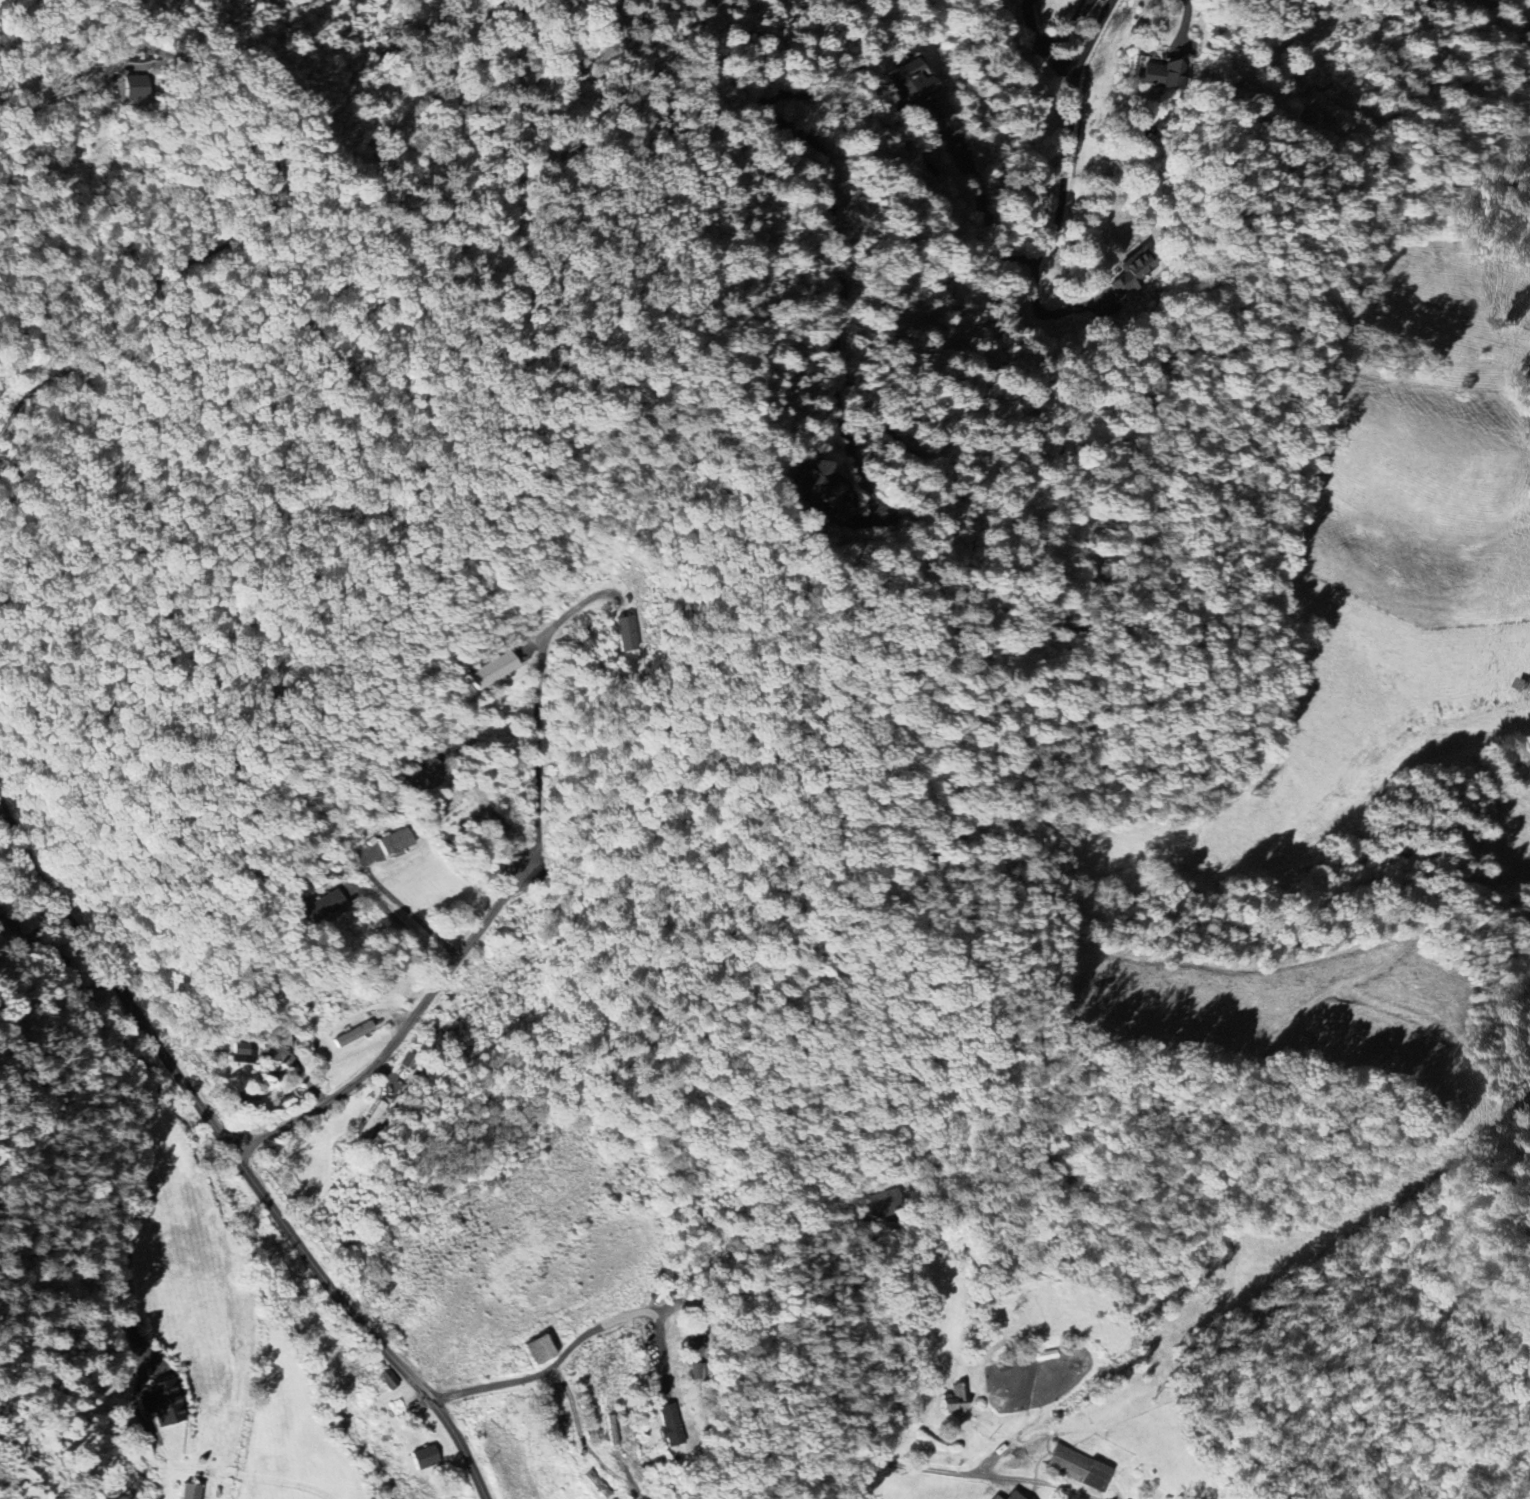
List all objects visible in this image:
road: (1088, 36)
road: (1037, 42)
building: (906, 82)
road: (806, 95)
road: (277, 181)
building: (1130, 273)
building: (823, 488)
building: (491, 670)
road: (537, 698)
building: (422, 776)
road: (2, 814)
building: (393, 841)
building: (323, 905)
road: (399, 909)
road: (404, 1030)
building: (352, 1035)
building: (241, 1052)
road: (237, 1155)
road: (572, 1346)
building: (537, 1349)
building: (695, 1370)
building: (387, 1379)
building: (953, 1399)
building: (161, 1402)
building: (558, 1425)
building: (669, 1425)
building: (611, 1430)
building: (423, 1456)
building: (1077, 1467)
road: (958, 1471)
building: (596, 1484)
building: (188, 1491)
building: (1012, 1495)
building: (994, 1497)

